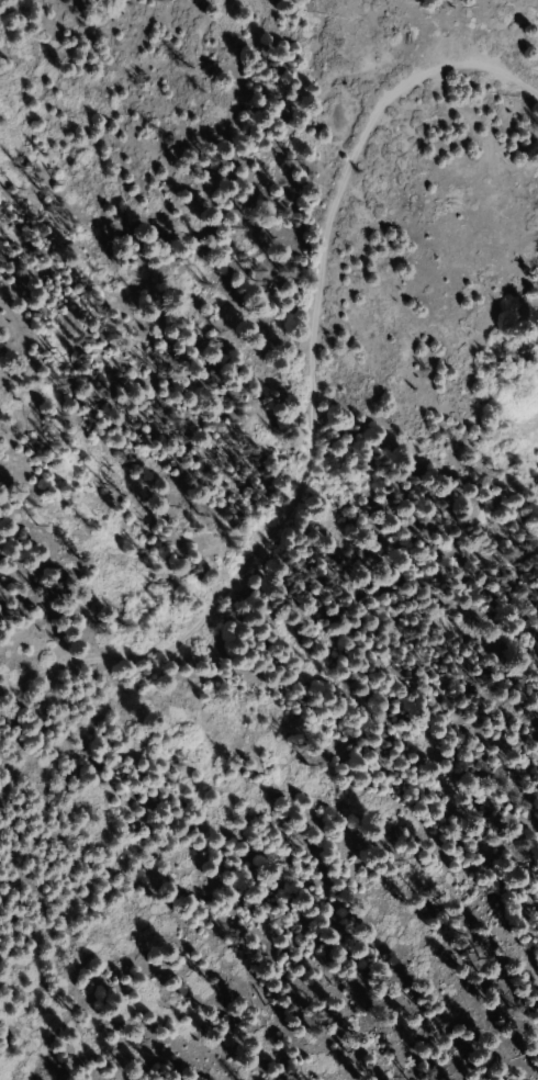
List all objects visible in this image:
road: (318, 383)

